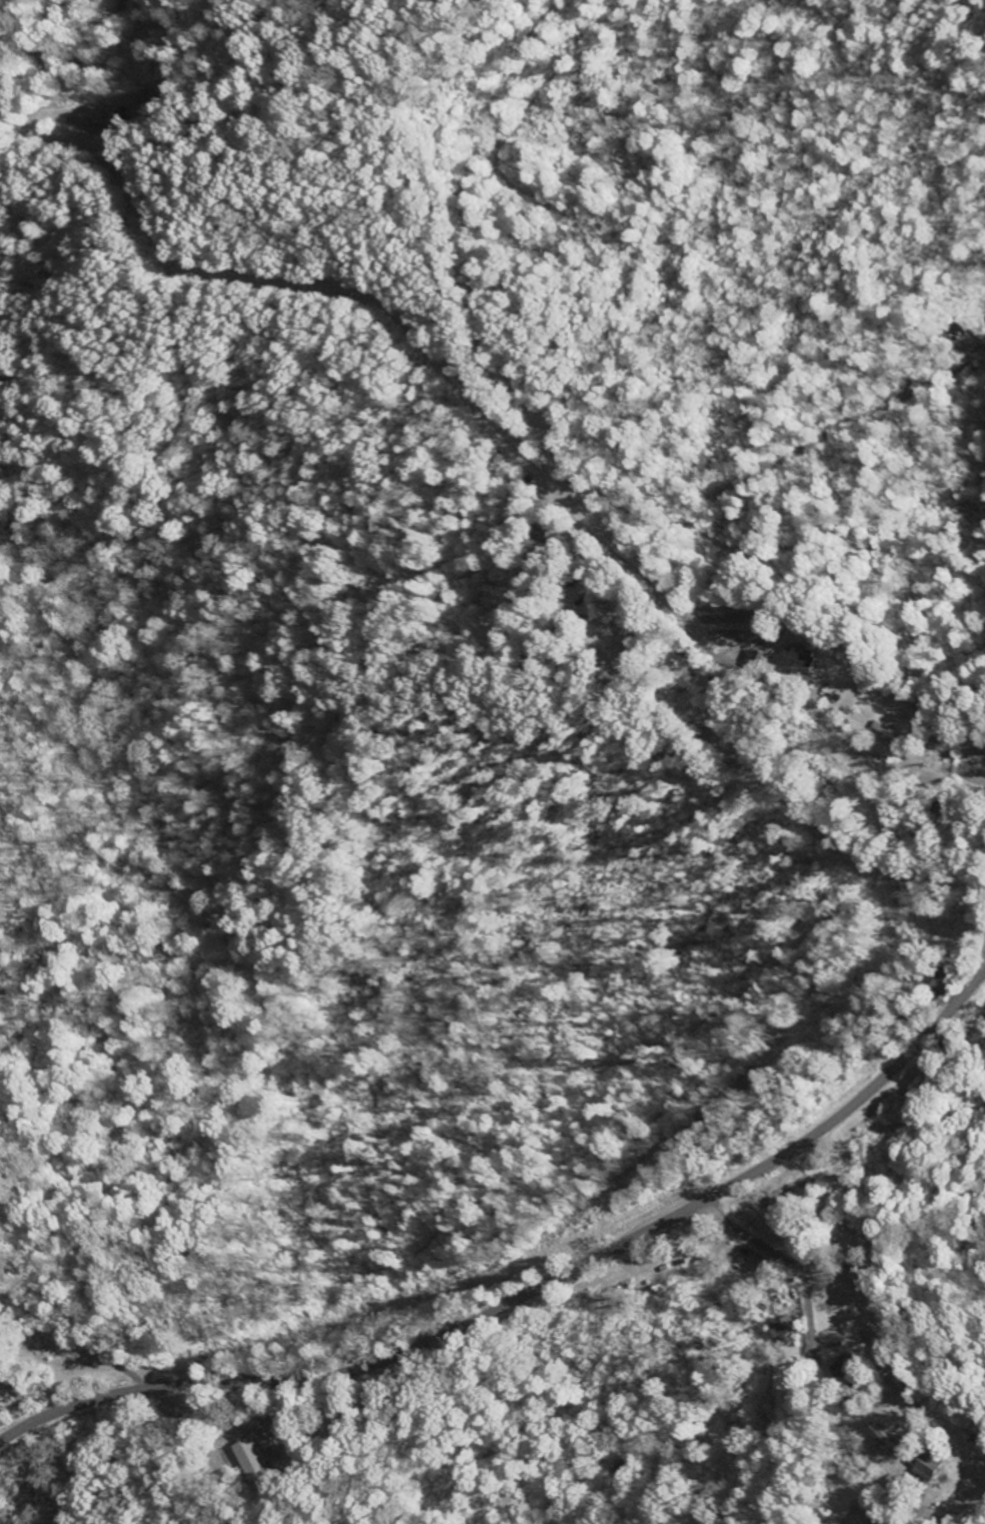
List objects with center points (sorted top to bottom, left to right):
road: (70, 58)
road: (548, 485)
building: (755, 659)
building: (798, 660)
road: (984, 943)
road: (532, 1290)
building: (780, 1331)
road: (96, 1352)
building: (840, 1367)
road: (809, 1369)
road: (90, 1370)
road: (136, 1383)
building: (877, 1441)
building: (249, 1460)
building: (926, 1464)

